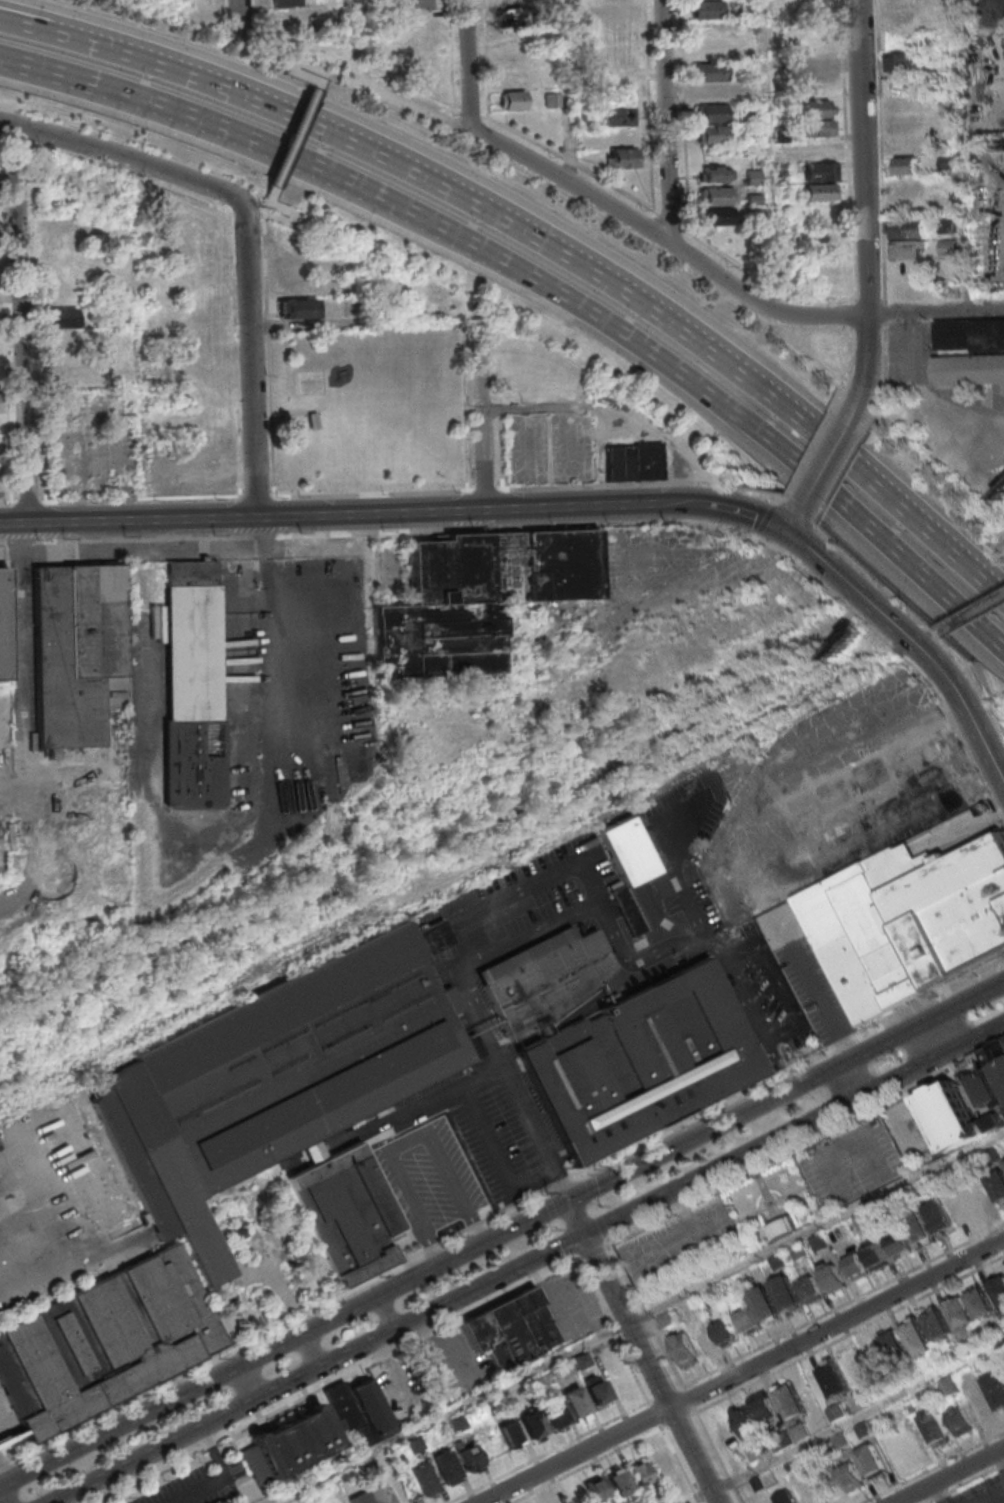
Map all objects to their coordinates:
building: (507, 1)
building: (285, 3)
building: (415, 3)
building: (899, 4)
building: (707, 9)
building: (507, 17)
road: (235, 18)
road: (20, 19)
road: (20, 30)
road: (354, 33)
road: (246, 37)
building: (709, 49)
building: (619, 54)
road: (337, 56)
building: (903, 60)
road: (338, 66)
building: (815, 66)
road: (472, 69)
building: (709, 71)
road: (357, 73)
road: (62, 74)
building: (512, 78)
building: (711, 90)
road: (570, 93)
building: (512, 99)
building: (816, 108)
building: (711, 112)
road: (473, 114)
building: (619, 116)
road: (665, 123)
building: (907, 124)
building: (942, 126)
building: (817, 127)
road: (297, 134)
building: (711, 134)
road: (16, 141)
building: (622, 147)
road: (846, 147)
road: (881, 149)
road: (769, 155)
road: (963, 155)
road: (122, 157)
road: (572, 164)
building: (906, 165)
building: (819, 171)
building: (714, 173)
building: (908, 186)
building: (819, 191)
building: (753, 199)
building: (714, 205)
road: (241, 207)
road: (864, 211)
road: (671, 222)
building: (208, 228)
road: (264, 231)
building: (910, 238)
building: (949, 246)
road: (670, 247)
road: (561, 248)
building: (210, 249)
building: (292, 266)
building: (908, 269)
building: (821, 270)
road: (762, 283)
building: (292, 287)
building: (297, 308)
building: (209, 311)
road: (851, 311)
road: (886, 311)
building: (63, 317)
road: (597, 321)
road: (25, 325)
building: (209, 332)
building: (971, 334)
building: (62, 338)
road: (140, 340)
road: (903, 346)
building: (211, 352)
road: (250, 364)
building: (72, 369)
building: (971, 369)
road: (852, 370)
building: (210, 372)
road: (888, 378)
road: (943, 395)
park: (371, 407)
road: (479, 411)
road: (609, 412)
road: (814, 455)
building: (632, 461)
road: (828, 465)
road: (846, 475)
road: (645, 481)
road: (736, 510)
road: (770, 514)
road: (339, 515)
road: (796, 521)
road: (568, 523)
road: (819, 523)
road: (147, 535)
road: (94, 537)
road: (805, 539)
road: (127, 550)
road: (21, 553)
building: (477, 597)
building: (3, 627)
road: (913, 640)
building: (78, 647)
building: (198, 684)
road: (24, 701)
building: (337, 725)
building: (631, 873)
building: (914, 914)
road: (612, 929)
building: (544, 978)
road: (932, 1040)
building: (990, 1059)
building: (647, 1060)
building: (276, 1076)
road: (480, 1078)
road: (853, 1080)
building: (988, 1089)
road: (788, 1095)
building: (954, 1114)
building: (996, 1121)
parking lot: (463, 1149)
building: (992, 1155)
parking lot: (855, 1166)
building: (997, 1185)
building: (2, 1191)
traffic signals: (571, 1204)
road: (506, 1210)
building: (349, 1212)
building: (878, 1213)
building: (938, 1217)
building: (863, 1221)
building: (915, 1225)
building: (783, 1228)
traffic signals: (585, 1233)
building: (817, 1241)
parking lot: (681, 1243)
building: (897, 1244)
park: (264, 1252)
building: (796, 1252)
building: (876, 1257)
building: (777, 1261)
road: (526, 1262)
building: (854, 1265)
road: (70, 1267)
building: (831, 1278)
building: (998, 1286)
building: (807, 1289)
building: (783, 1294)
building: (979, 1304)
building: (762, 1305)
road: (390, 1313)
building: (959, 1313)
building: (536, 1318)
road: (637, 1319)
building: (664, 1319)
building: (747, 1320)
building: (935, 1325)
building: (723, 1331)
building: (997, 1331)
building: (512, 1333)
building: (914, 1337)
building: (705, 1340)
building: (106, 1341)
building: (486, 1341)
road: (285, 1347)
building: (971, 1347)
building: (684, 1349)
building: (893, 1350)
road: (314, 1351)
road: (646, 1353)
building: (582, 1361)
building: (567, 1368)
road: (743, 1371)
building: (831, 1379)
road: (249, 1383)
building: (948, 1387)
building: (994, 1391)
building: (597, 1392)
building: (925, 1396)
building: (789, 1399)
building: (578, 1404)
building: (981, 1405)
building: (761, 1407)
building: (362, 1411)
building: (835, 1413)
building: (557, 1414)
building: (745, 1422)
building: (958, 1422)
building: (458, 1423)
road: (847, 1424)
building: (535, 1425)
building: (722, 1428)
building: (863, 1430)
building: (935, 1430)
building: (12, 1432)
building: (798, 1432)
building: (513, 1434)
building: (780, 1440)
building: (840, 1441)
building: (415, 1444)
building: (291, 1445)
building: (752, 1453)
road: (1000, 1456)
building: (470, 1457)
building: (869, 1460)
road: (3, 1461)
building: (664, 1464)
road: (589, 1466)
building: (448, 1468)
road: (935, 1468)
building: (642, 1474)
road: (948, 1474)
road: (225, 1476)
building: (849, 1476)
building: (426, 1478)
building: (620, 1482)
road: (964, 1482)
building: (757, 1483)
parking lot: (198, 1486)
building: (597, 1490)
road: (938, 1493)
building: (380, 1494)
road: (2, 1497)
building: (782, 1497)
road: (993, 1497)
building: (361, 1499)
building: (557, 1501)

